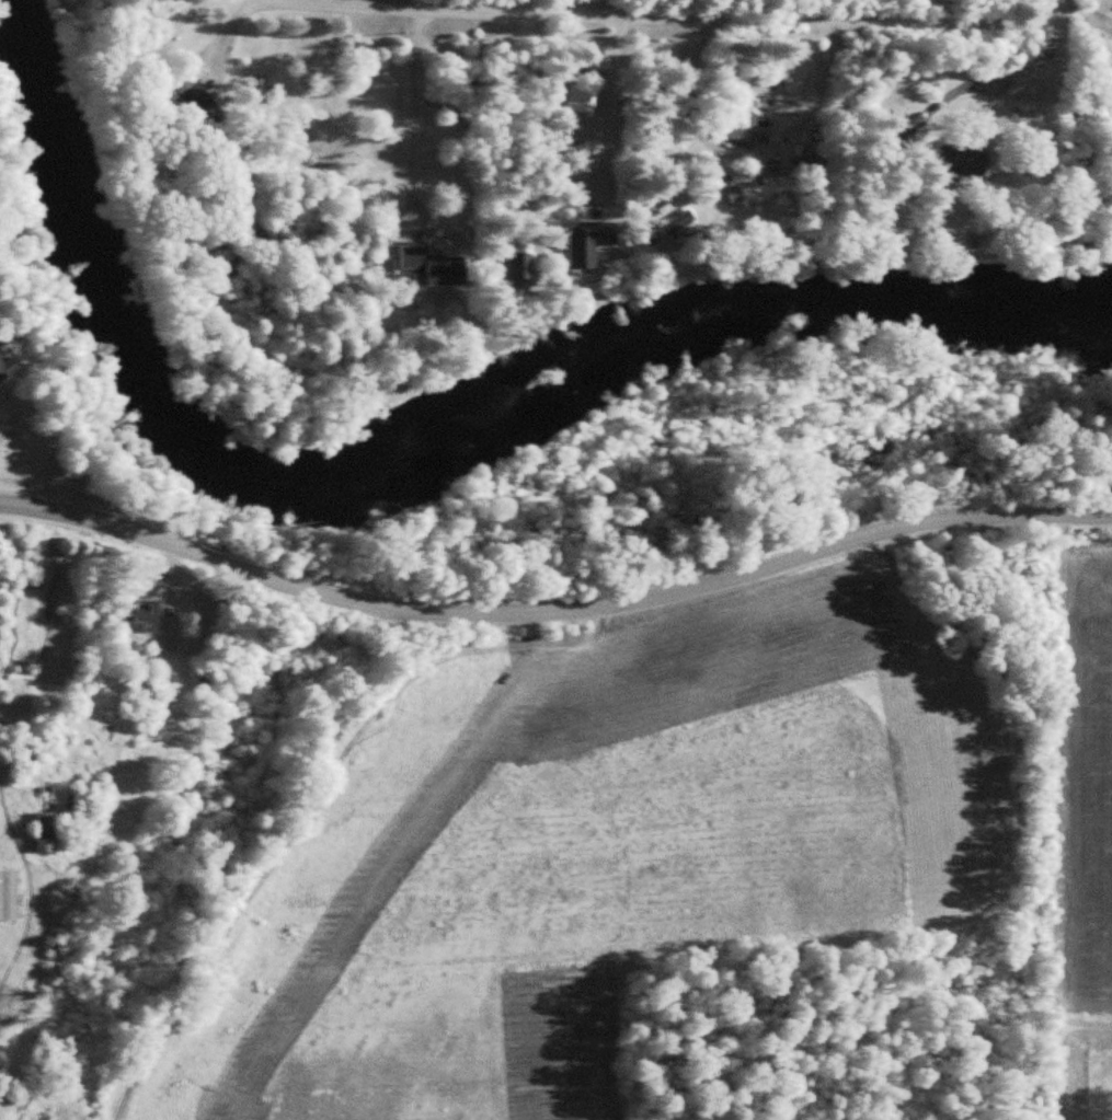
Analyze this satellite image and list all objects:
road: (674, 13)
road: (822, 81)
building: (203, 108)
road: (611, 112)
road: (411, 118)
building: (741, 127)
building: (964, 159)
building: (758, 190)
building: (667, 230)
building: (589, 242)
building: (520, 266)
building: (433, 267)
building: (10, 368)
river: (417, 465)
road: (553, 612)
building: (151, 613)
building: (98, 696)
building: (32, 760)
building: (49, 833)
building: (10, 897)

